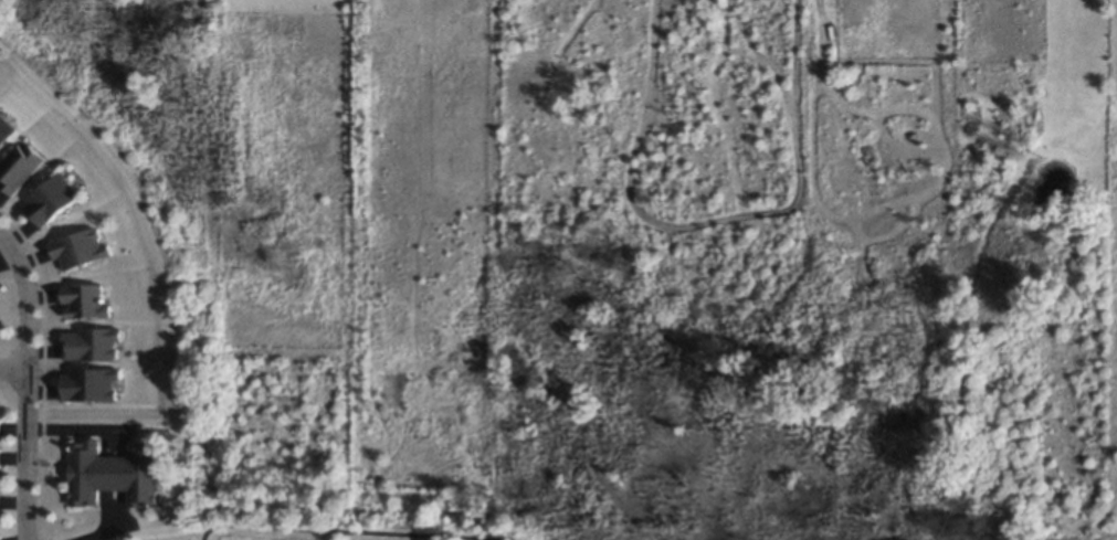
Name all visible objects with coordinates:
crop: (889, 31)
building: (7, 129)
building: (22, 167)
building: (54, 202)
building: (83, 251)
building: (89, 301)
building: (94, 345)
road: (12, 368)
road: (25, 383)
building: (93, 384)
road: (76, 425)
building: (0, 460)
building: (115, 474)
road: (106, 528)
road: (354, 530)
building: (1, 538)

